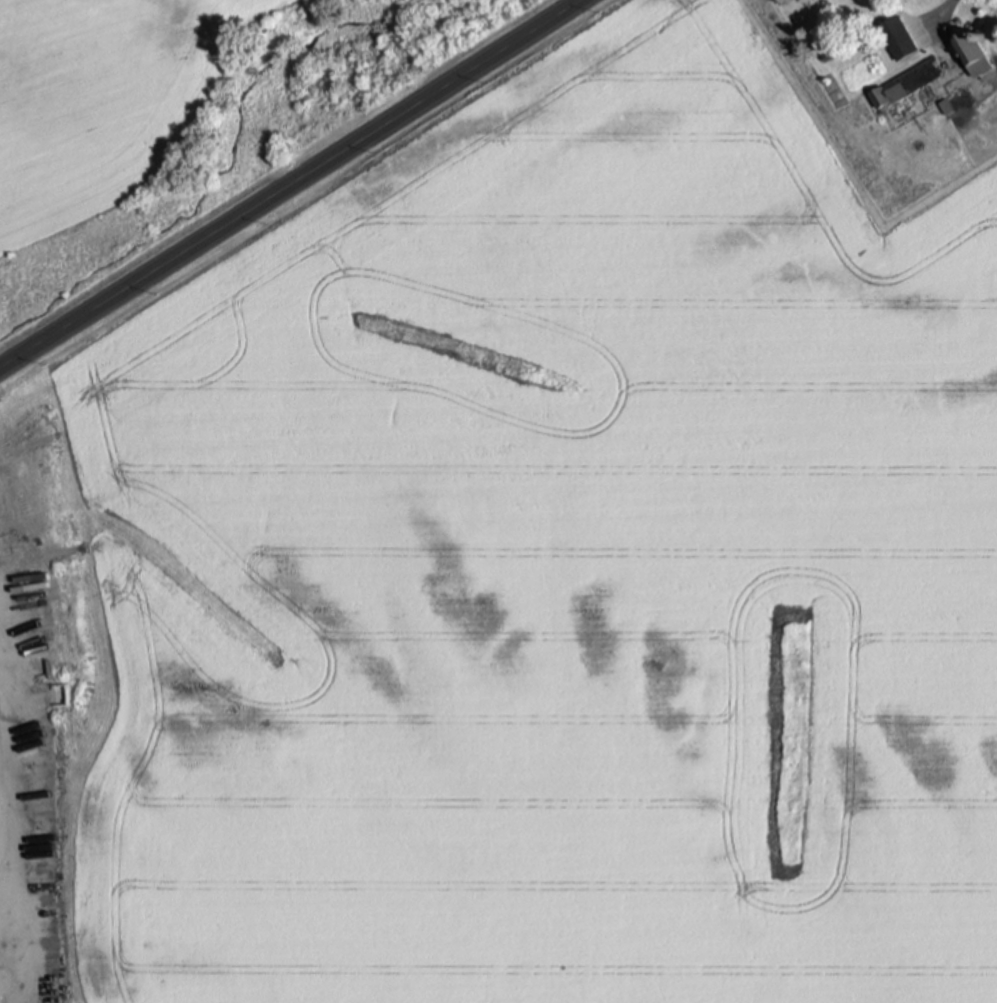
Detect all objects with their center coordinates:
building: (897, 40)
building: (907, 85)
road: (290, 185)

